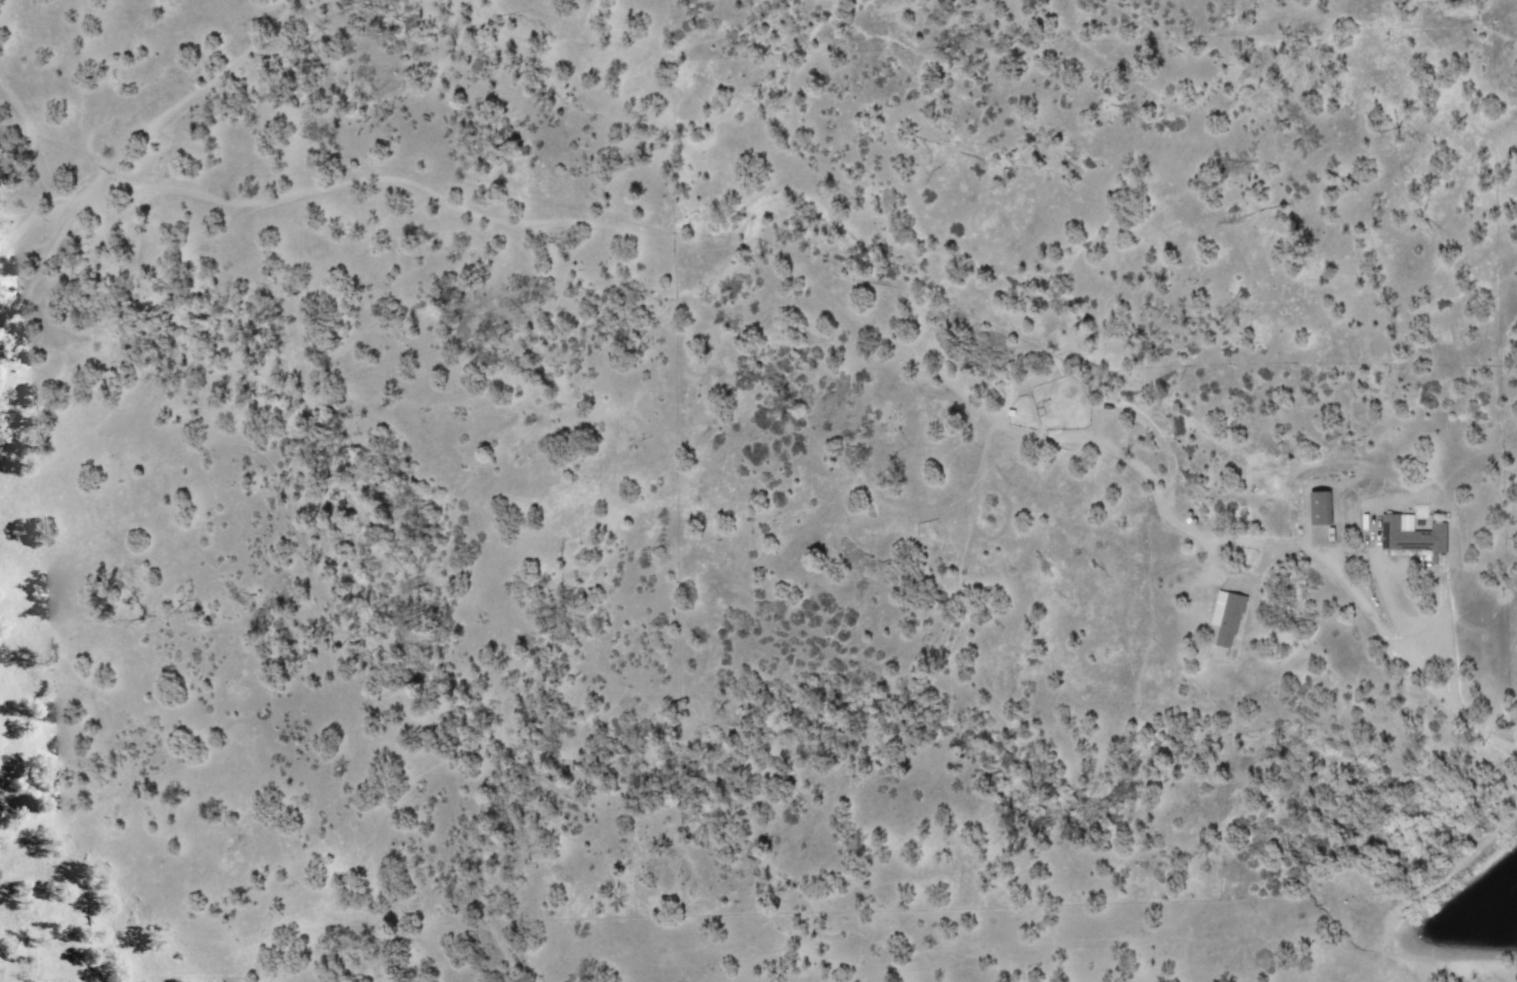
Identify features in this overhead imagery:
building: (1326, 509)
building: (1415, 535)
road: (1274, 547)
building: (1232, 618)

